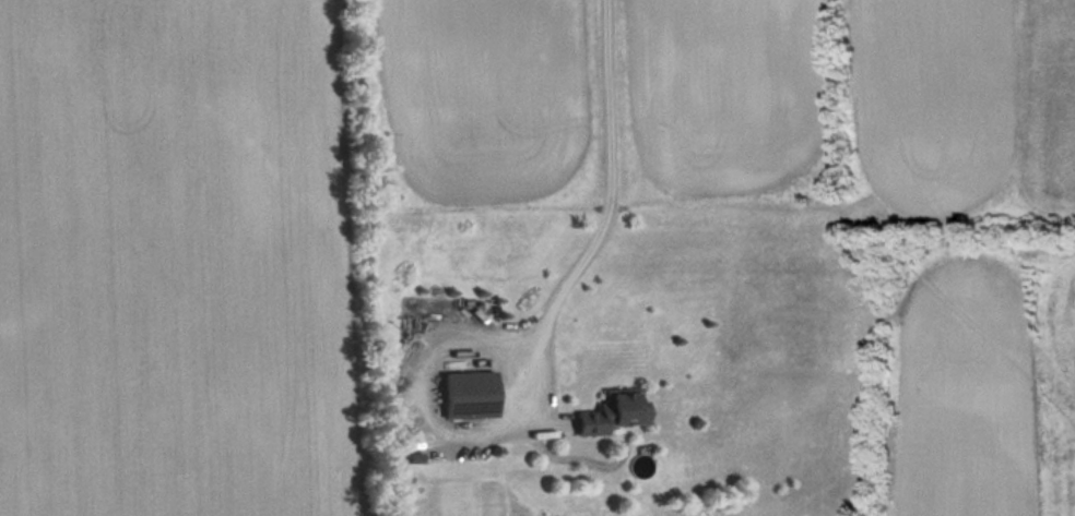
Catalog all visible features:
road: (606, 220)
building: (474, 395)
building: (617, 411)

